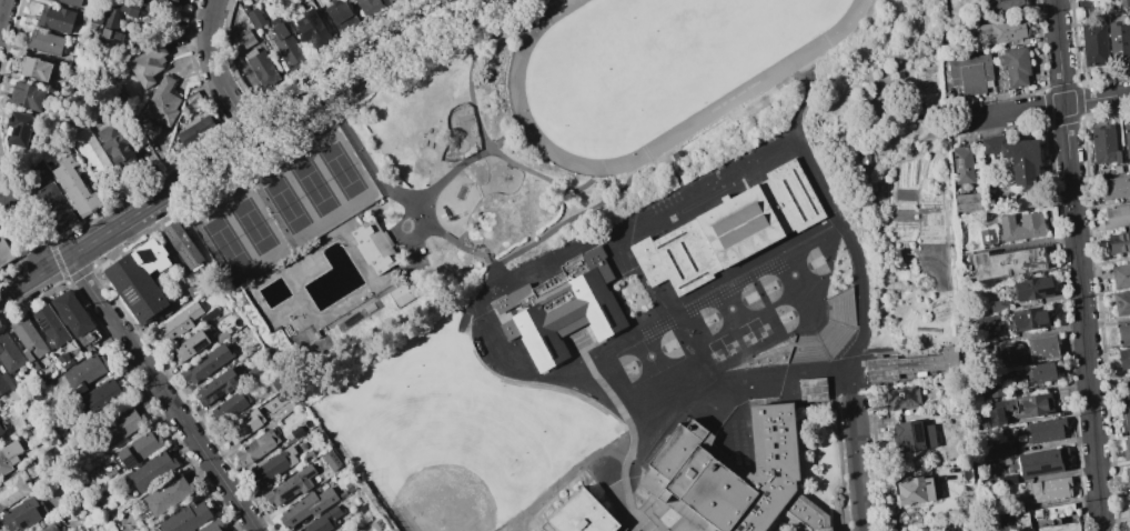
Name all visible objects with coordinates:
building: (171, 1)
building: (70, 2)
building: (394, 2)
building: (1005, 3)
building: (1123, 3)
road: (1, 4)
building: (369, 8)
building: (54, 18)
building: (115, 18)
building: (254, 18)
building: (340, 18)
building: (312, 31)
building: (1005, 31)
building: (243, 40)
building: (1118, 40)
building: (44, 42)
building: (1093, 43)
building: (287, 48)
park: (654, 63)
building: (145, 64)
building: (1013, 66)
building: (33, 68)
building: (261, 68)
road: (214, 73)
building: (969, 73)
track: (746, 89)
building: (26, 97)
road: (805, 98)
building: (161, 102)
road: (1048, 106)
park: (571, 120)
road: (956, 122)
building: (18, 130)
building: (195, 131)
road: (483, 138)
building: (1126, 140)
building: (114, 143)
building: (1102, 146)
road: (236, 148)
building: (90, 152)
building: (1015, 158)
building: (960, 164)
road: (889, 166)
road: (436, 167)
park: (341, 170)
road: (374, 171)
road: (450, 171)
building: (74, 188)
park: (313, 188)
building: (1113, 188)
building: (966, 202)
park: (285, 204)
building: (53, 208)
road: (638, 214)
building: (1116, 217)
road: (565, 222)
park: (252, 226)
building: (1019, 227)
road: (22, 229)
building: (729, 230)
road: (400, 236)
rooftop solar panel: (170, 237)
building: (986, 237)
road: (451, 241)
building: (1118, 242)
park: (224, 243)
building: (183, 246)
building: (373, 247)
building: (4, 253)
rooftop solar panel: (184, 254)
road: (857, 257)
building: (1005, 262)
rooftop solar panel: (191, 263)
road: (1078, 264)
road: (496, 273)
park: (793, 274)
building: (1120, 274)
building: (139, 280)
building: (1031, 289)
rooftop solar panel: (1047, 290)
rooftop solar panel: (131, 301)
building: (1121, 303)
park: (730, 308)
building: (559, 309)
building: (841, 310)
park: (793, 311)
building: (70, 314)
building: (209, 315)
building: (1028, 319)
rooftop solar panel: (43, 321)
building: (176, 323)
building: (50, 327)
park: (763, 330)
building: (1123, 332)
park: (746, 339)
building: (27, 340)
rooftop solar panel: (199, 343)
building: (186, 348)
park: (732, 348)
building: (1040, 348)
building: (1010, 354)
park: (716, 355)
park: (649, 357)
building: (10, 358)
building: (1123, 358)
building: (205, 363)
road: (516, 364)
building: (904, 367)
building: (1038, 372)
building: (83, 373)
road: (732, 377)
building: (3, 382)
building: (216, 387)
building: (993, 387)
building: (811, 389)
building: (1126, 391)
road: (162, 393)
building: (100, 395)
building: (901, 398)
building: (230, 407)
building: (1018, 408)
building: (1124, 419)
building: (121, 425)
road: (628, 427)
building: (241, 428)
building: (1042, 430)
building: (0, 431)
building: (296, 432)
park: (453, 432)
building: (912, 437)
building: (255, 448)
building: (1005, 448)
building: (139, 449)
building: (1126, 449)
building: (8, 455)
building: (688, 462)
building: (1040, 462)
rooftop solar panel: (130, 463)
road: (857, 463)
building: (274, 465)
rooftop solar panel: (1046, 468)
building: (151, 471)
building: (1127, 475)
road: (564, 479)
building: (1007, 480)
building: (16, 487)
building: (283, 489)
building: (1049, 489)
building: (912, 490)
building: (167, 494)
building: (1128, 503)
building: (306, 507)
building: (1059, 508)
building: (21, 514)
building: (579, 515)
building: (185, 518)
building: (323, 521)
building: (1012, 521)
building: (211, 527)
building: (1060, 527)
building: (48, 528)
building: (946, 528)
building: (345, 529)
building: (919, 530)

